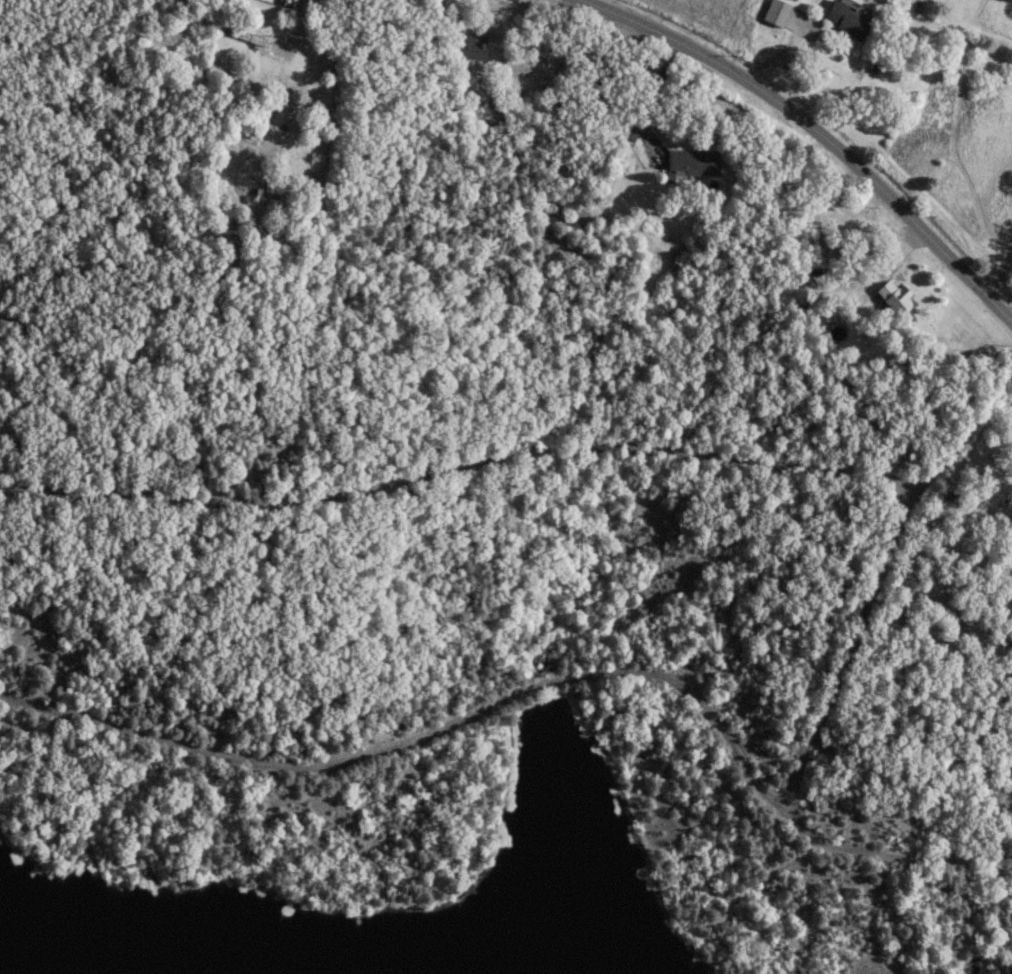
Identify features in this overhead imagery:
building: (772, 13)
building: (843, 18)
building: (246, 35)
building: (474, 44)
road: (282, 73)
road: (817, 131)
building: (692, 161)
building: (273, 192)
building: (894, 296)
road: (997, 387)
road: (463, 447)
road: (849, 647)
road: (419, 736)
road: (890, 850)

